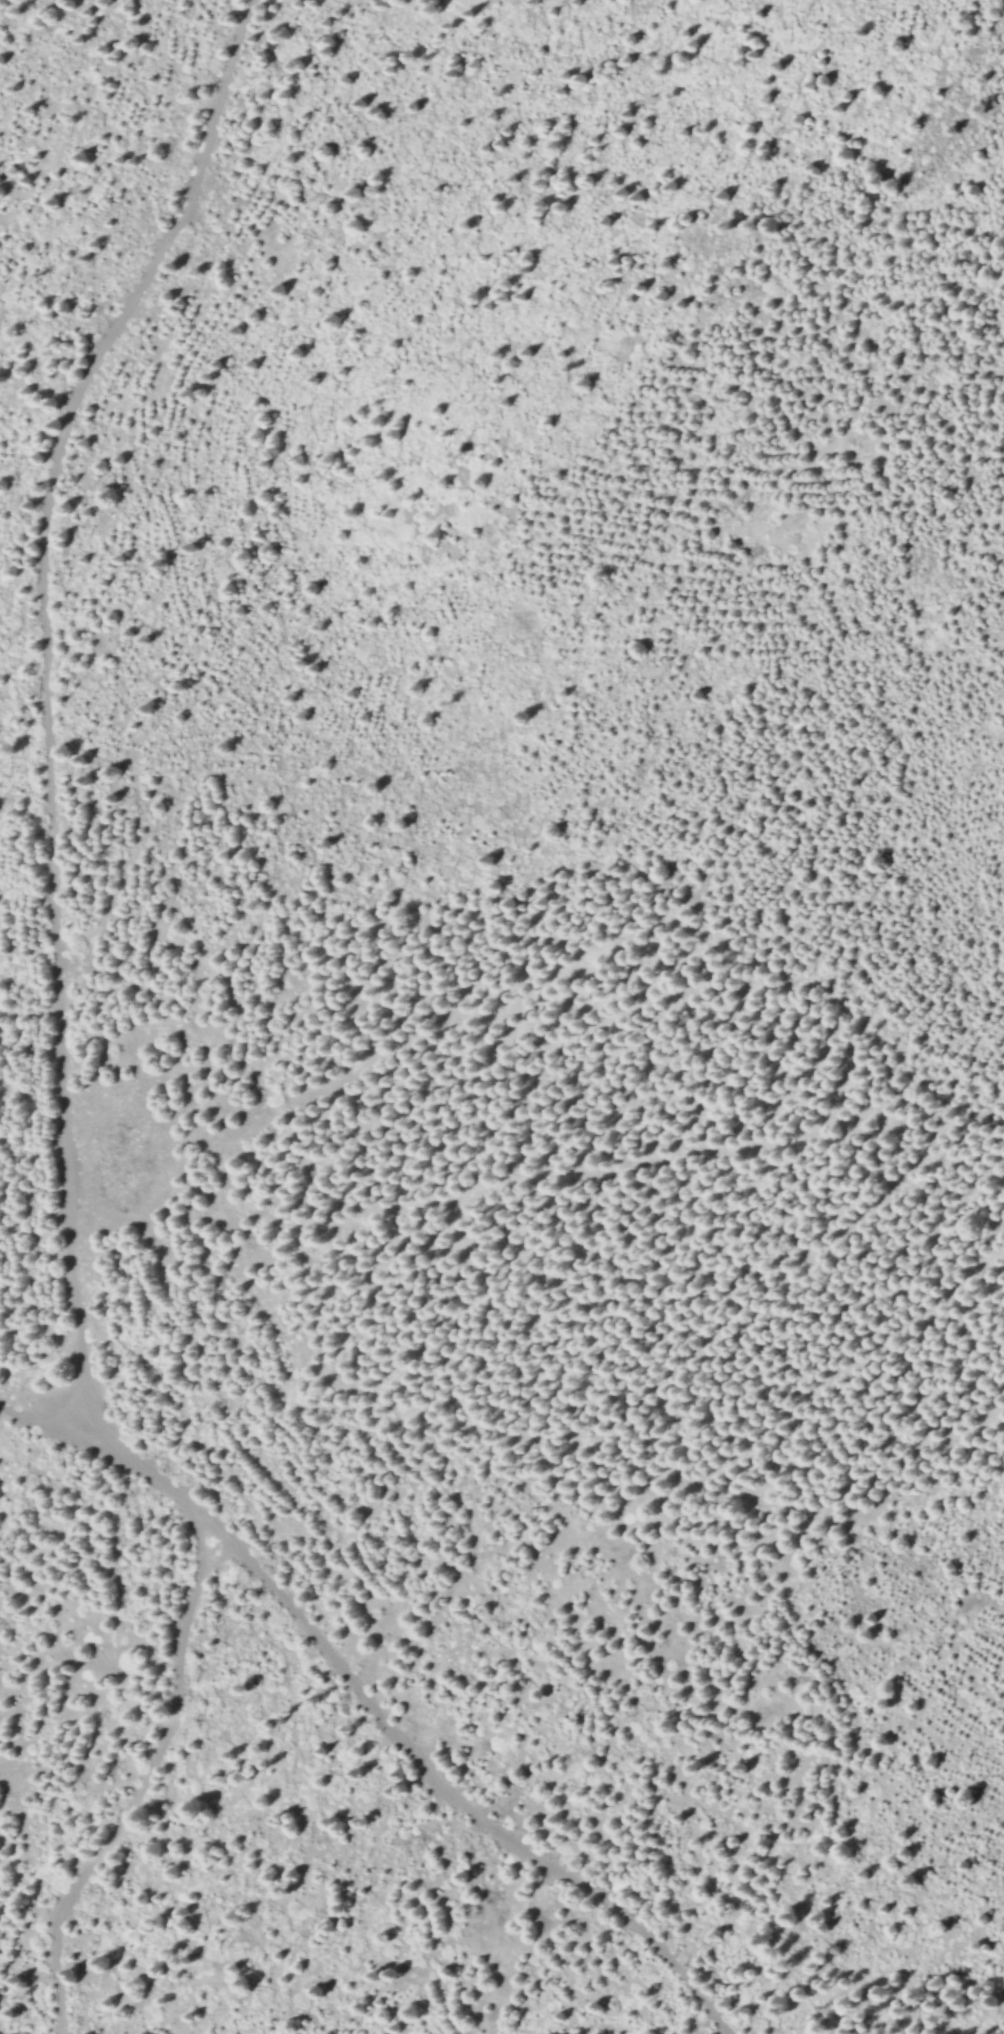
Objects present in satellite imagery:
road: (47, 689)
road: (37, 1406)
road: (393, 1733)
road: (141, 1785)

